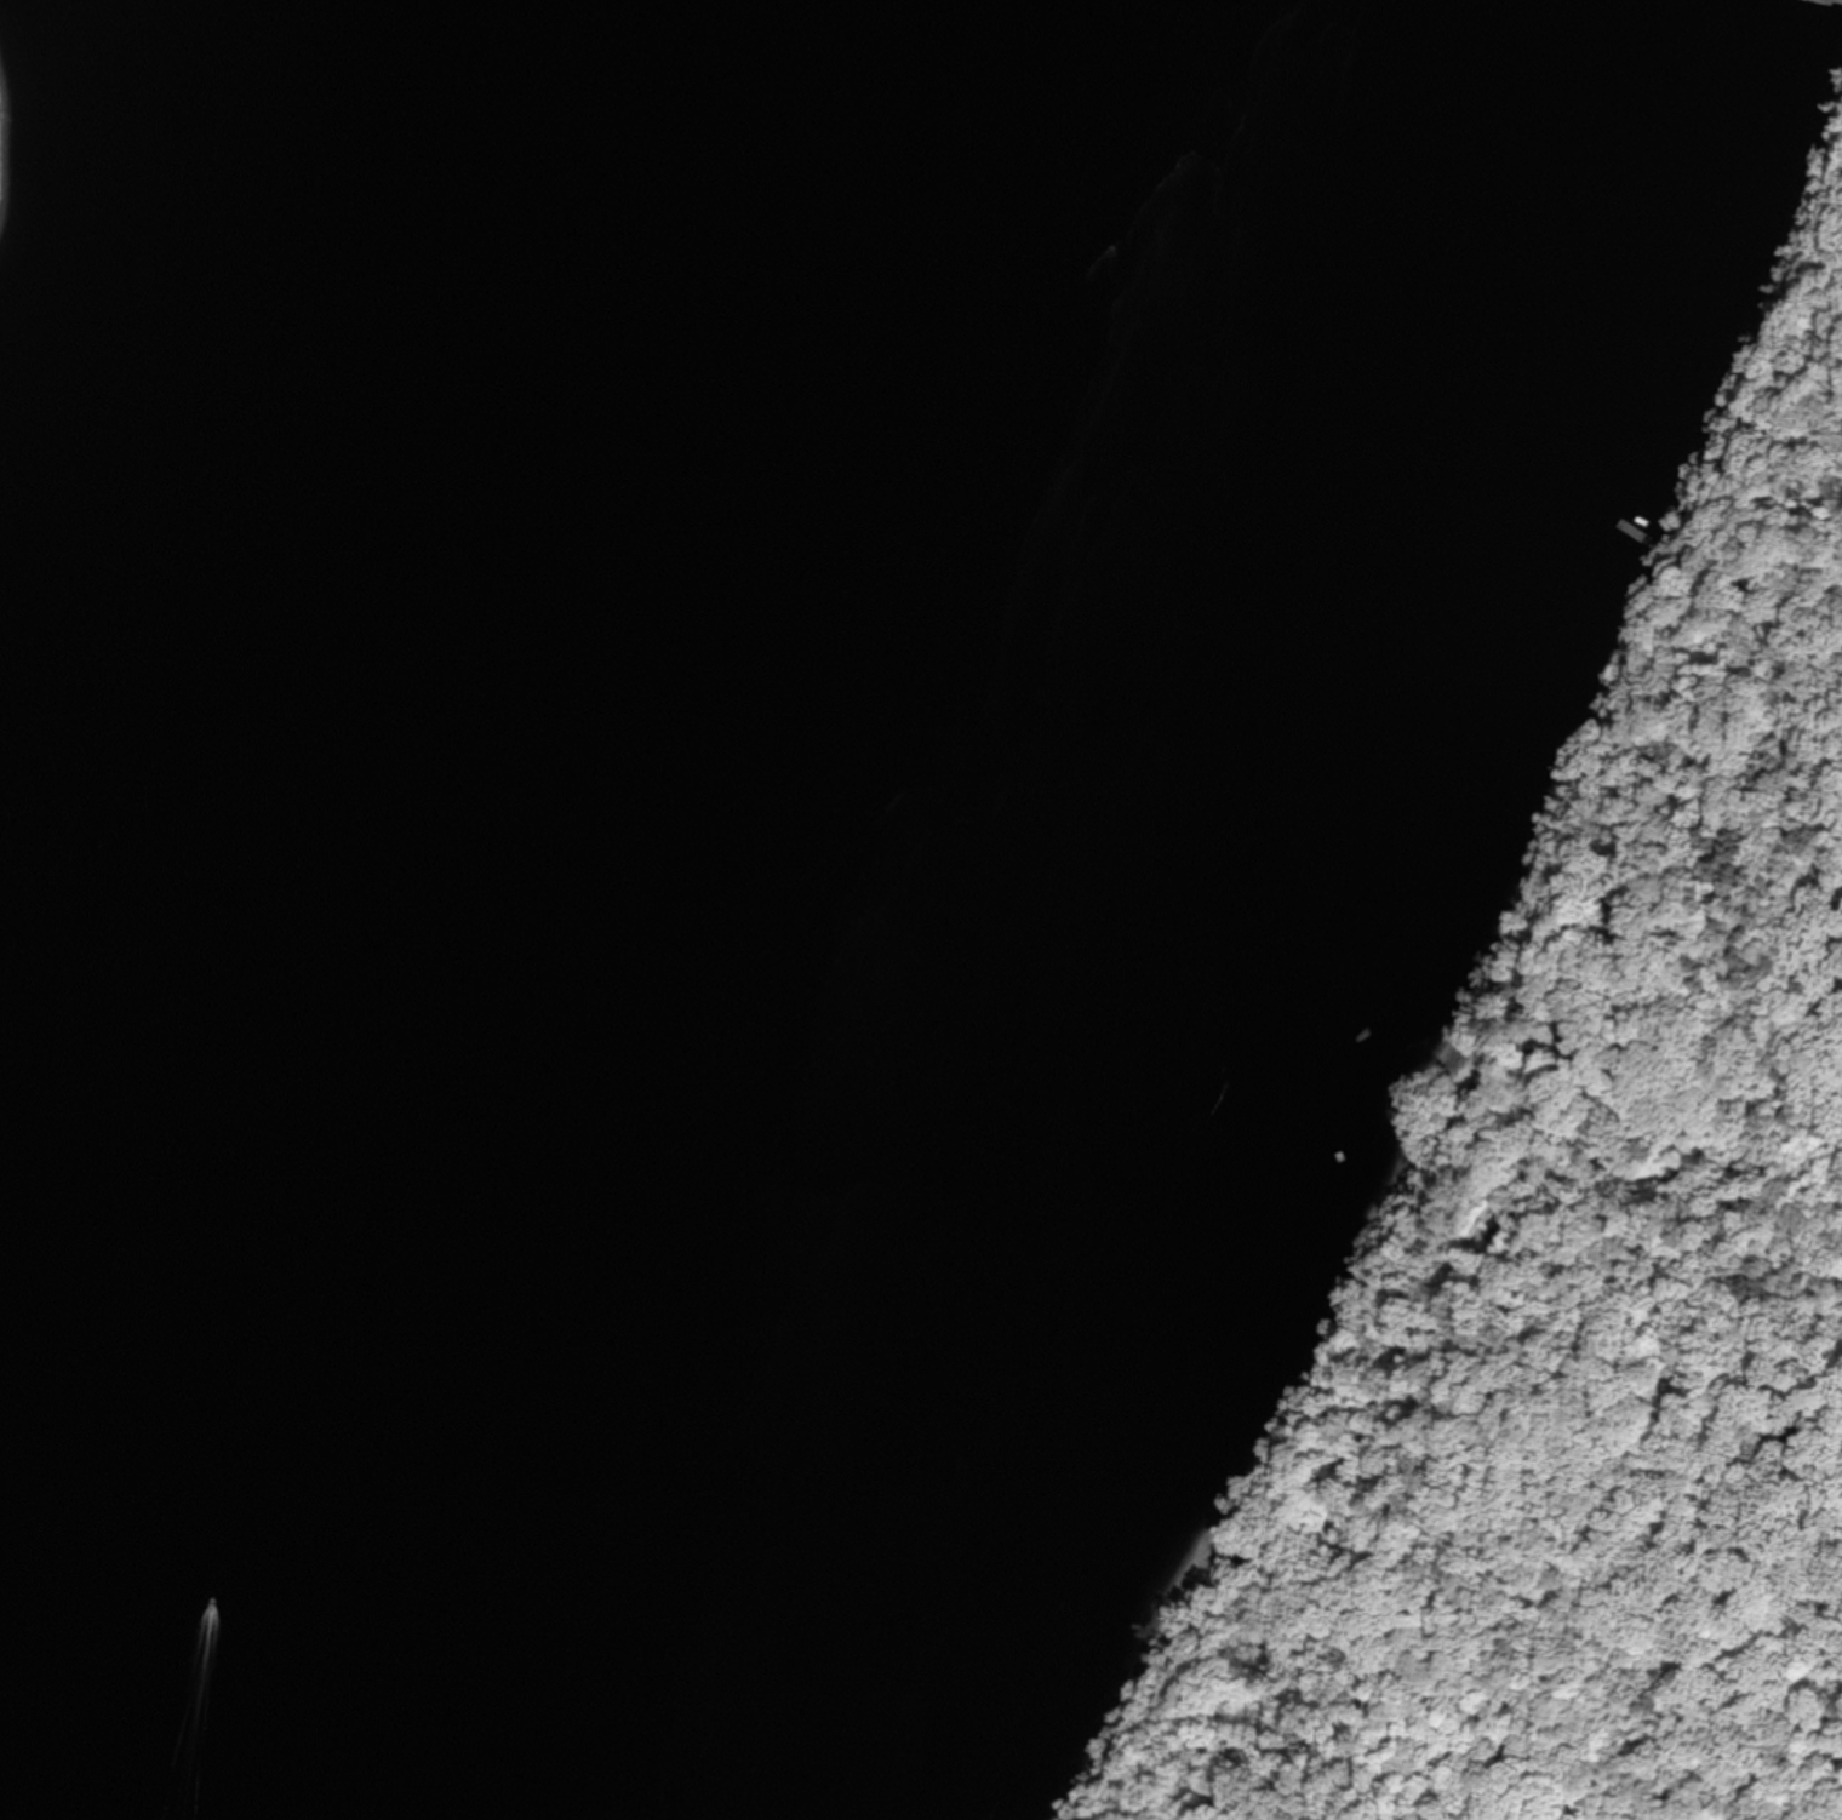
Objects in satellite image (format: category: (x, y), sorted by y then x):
park: (10, 158)
river: (408, 910)
building: (1509, 1225)
building: (1789, 1444)

